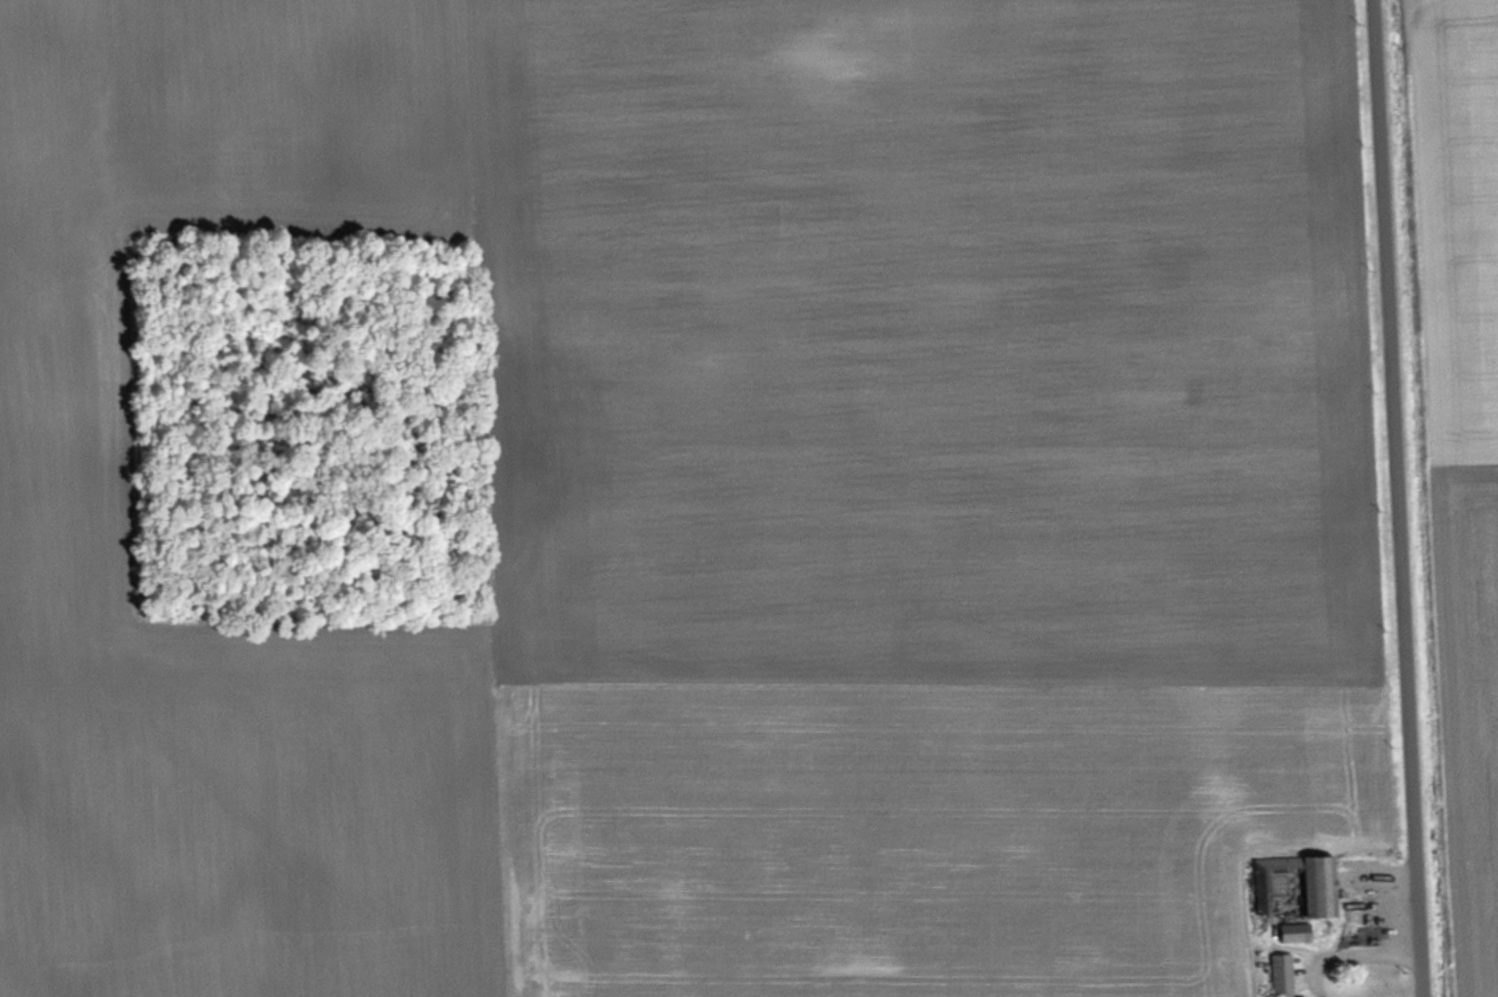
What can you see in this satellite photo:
road: (1400, 498)
building: (1319, 892)
building: (1294, 932)
building: (1281, 975)

